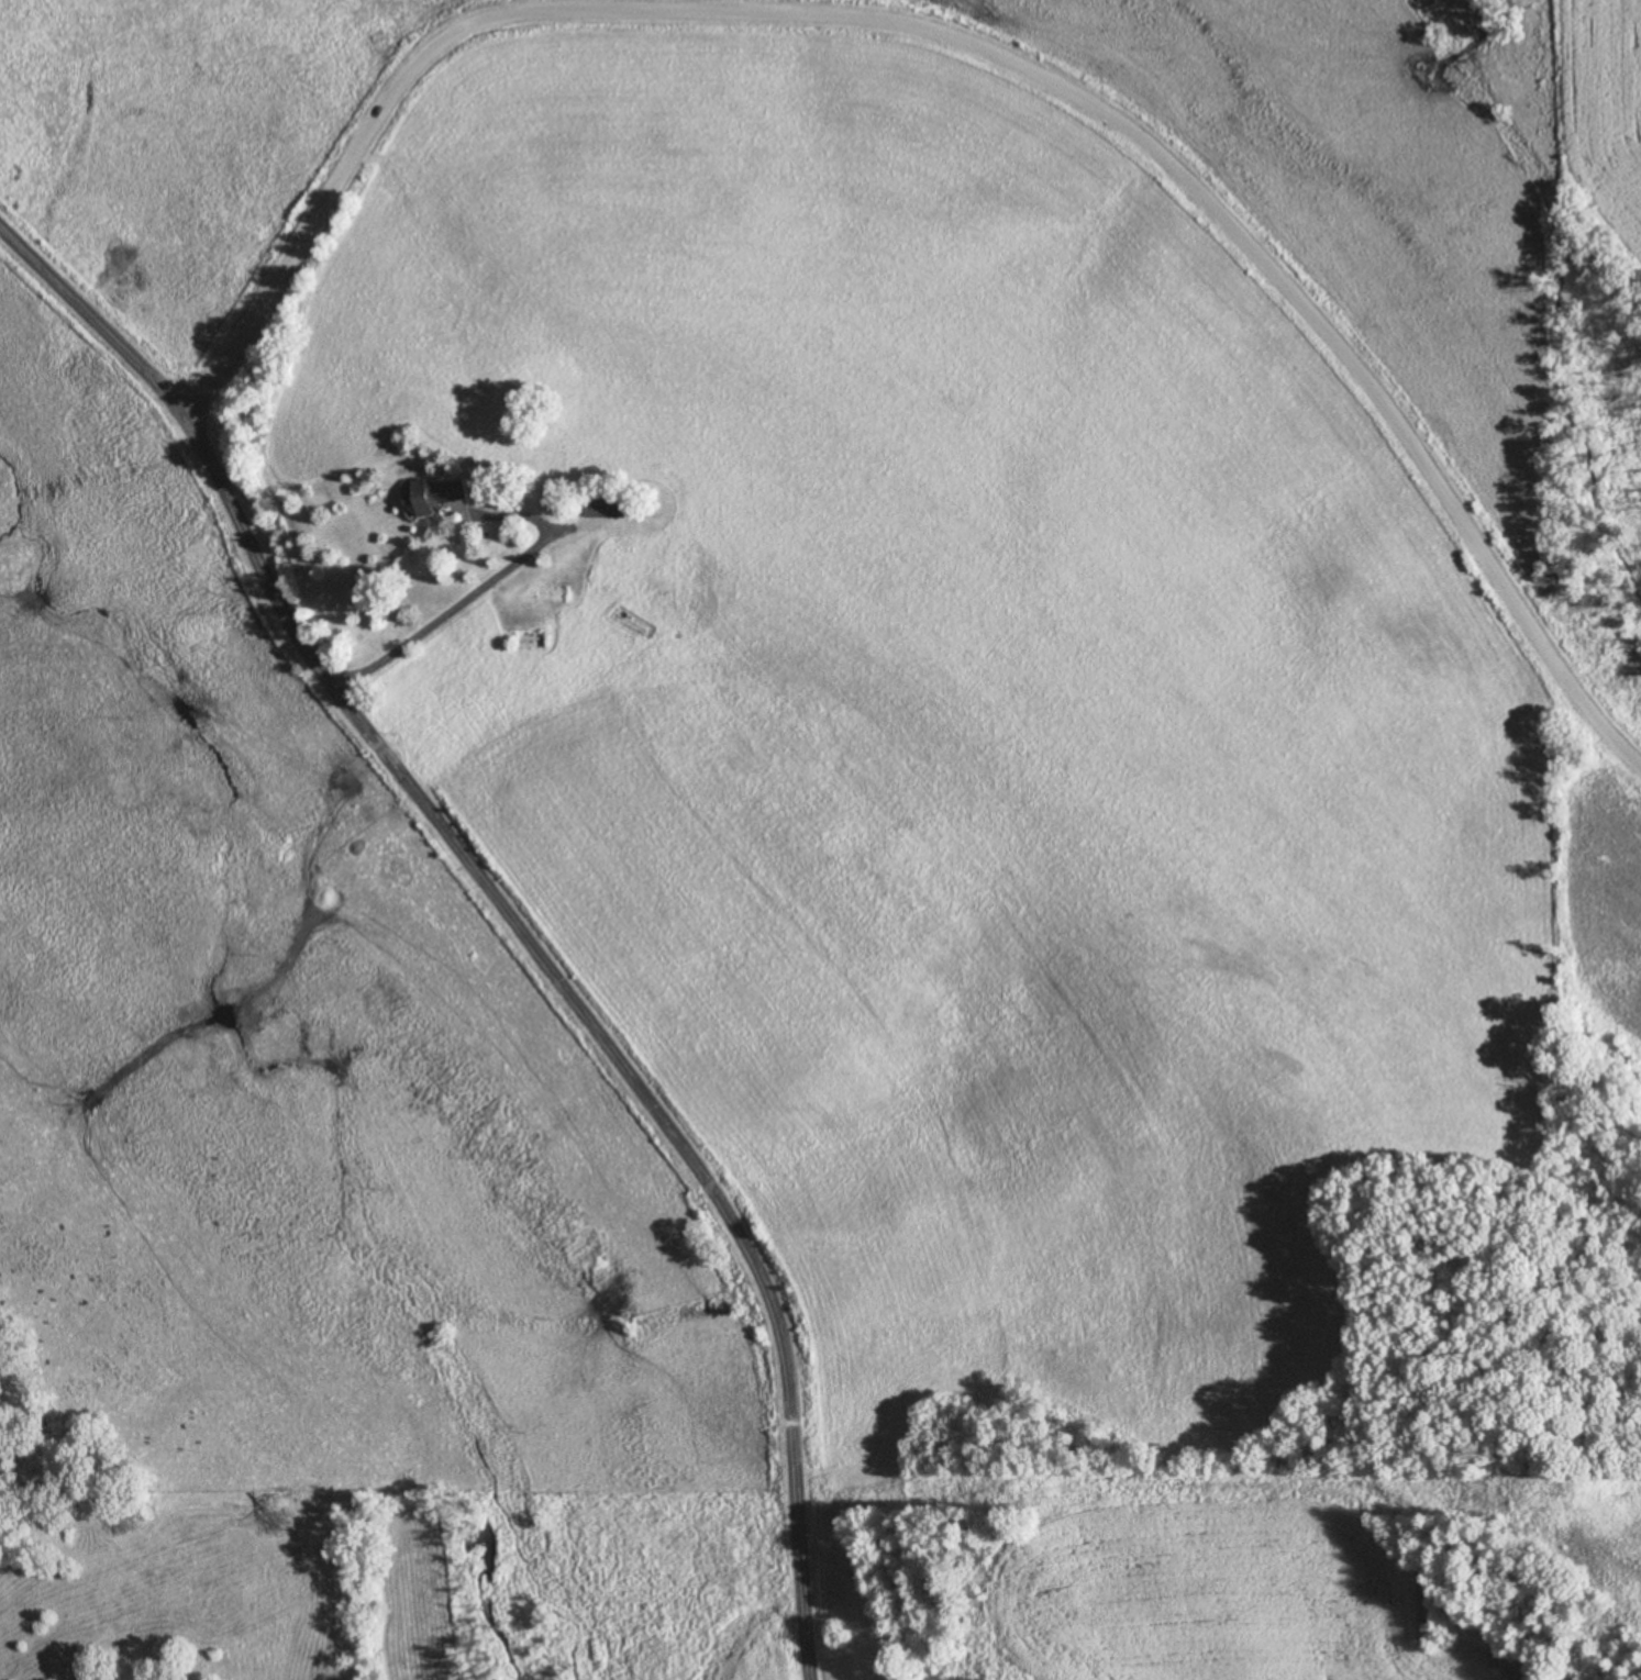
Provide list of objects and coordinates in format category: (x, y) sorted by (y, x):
road: (972, 47)
building: (439, 494)
building: (592, 504)
road: (461, 601)
road: (502, 912)

